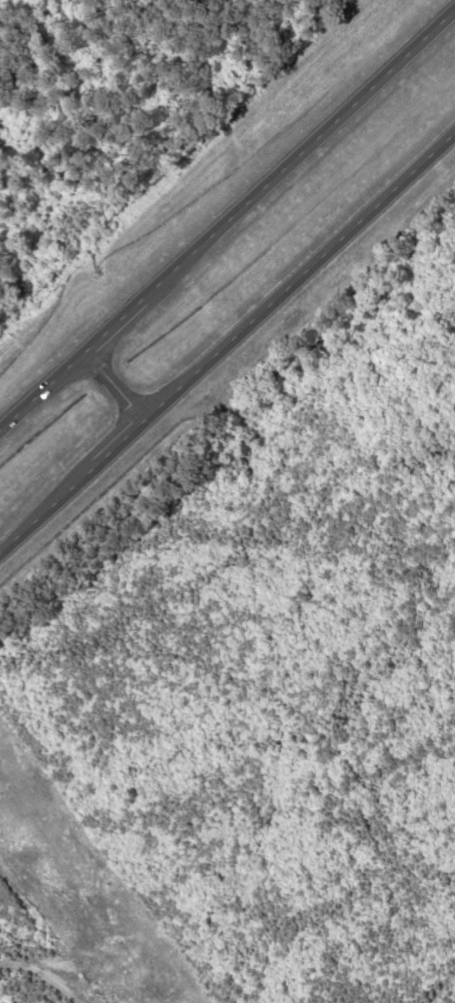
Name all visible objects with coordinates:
road: (227, 222)
road: (227, 343)

